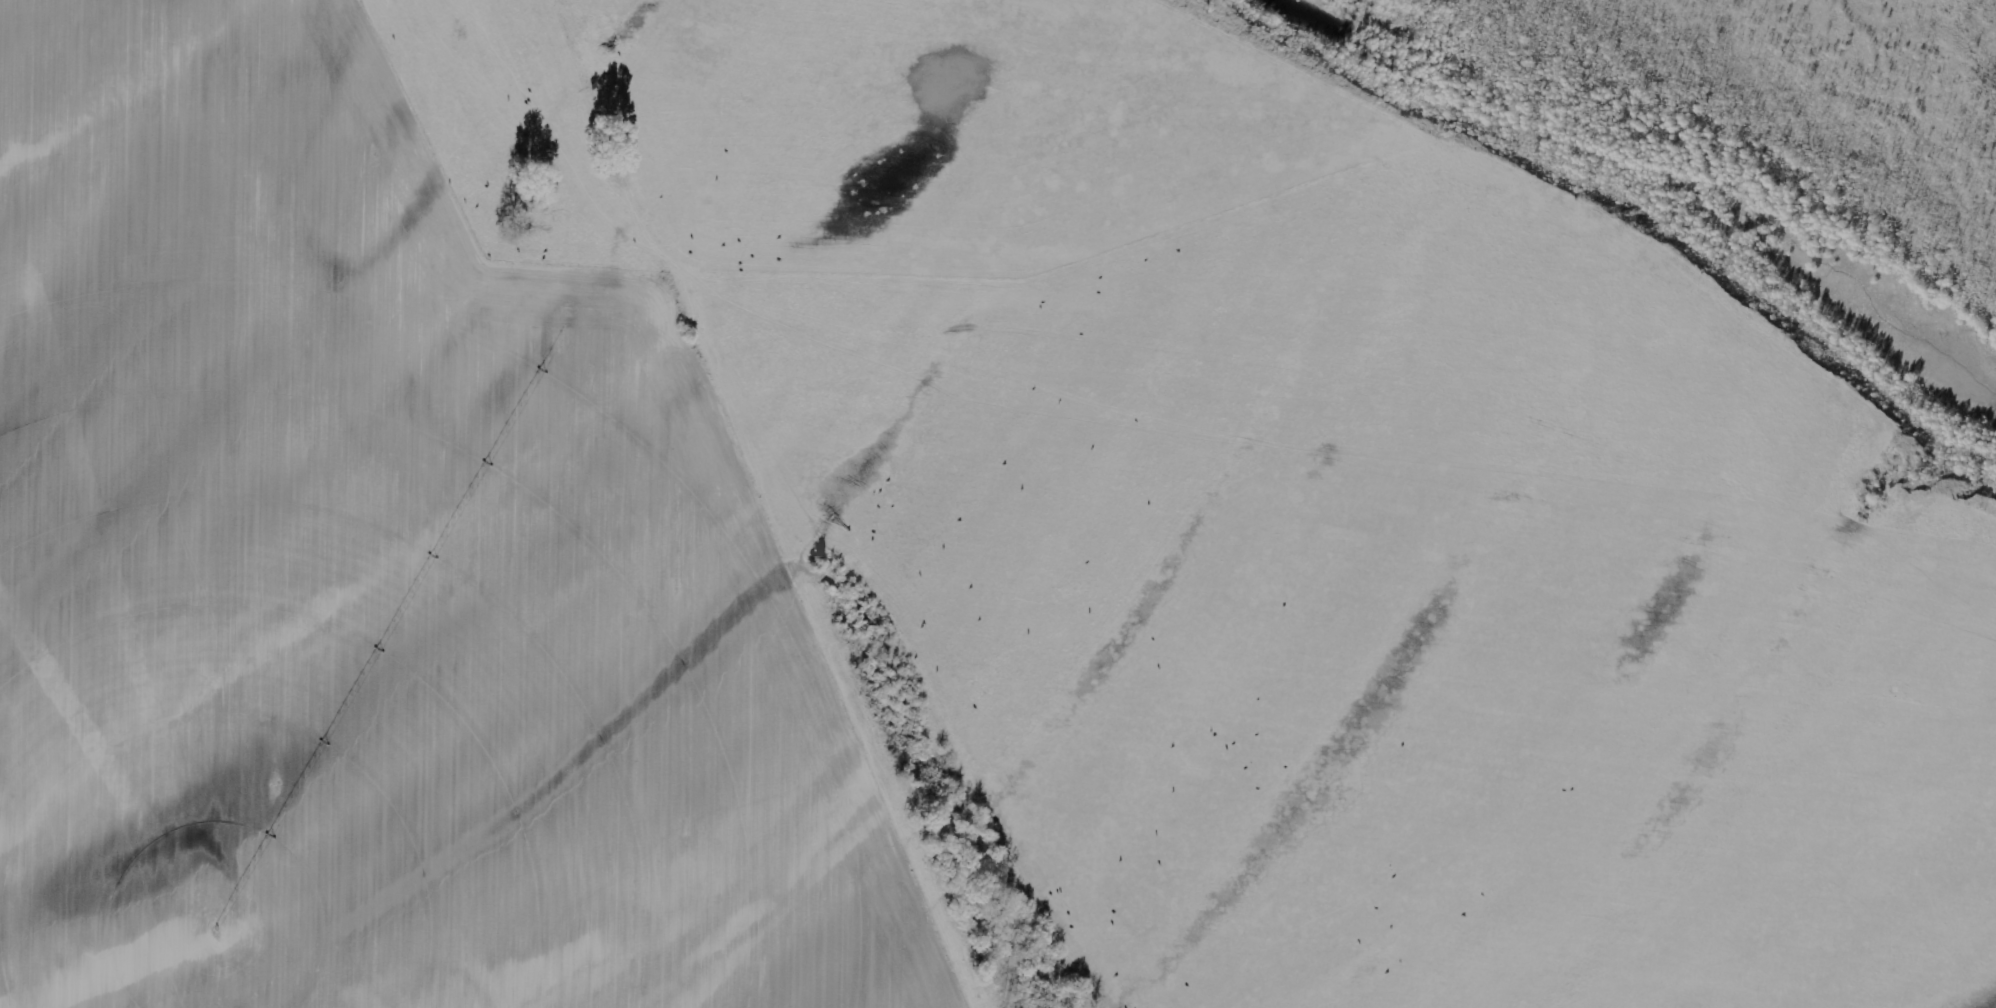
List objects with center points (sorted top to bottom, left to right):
river: (1875, 98)

